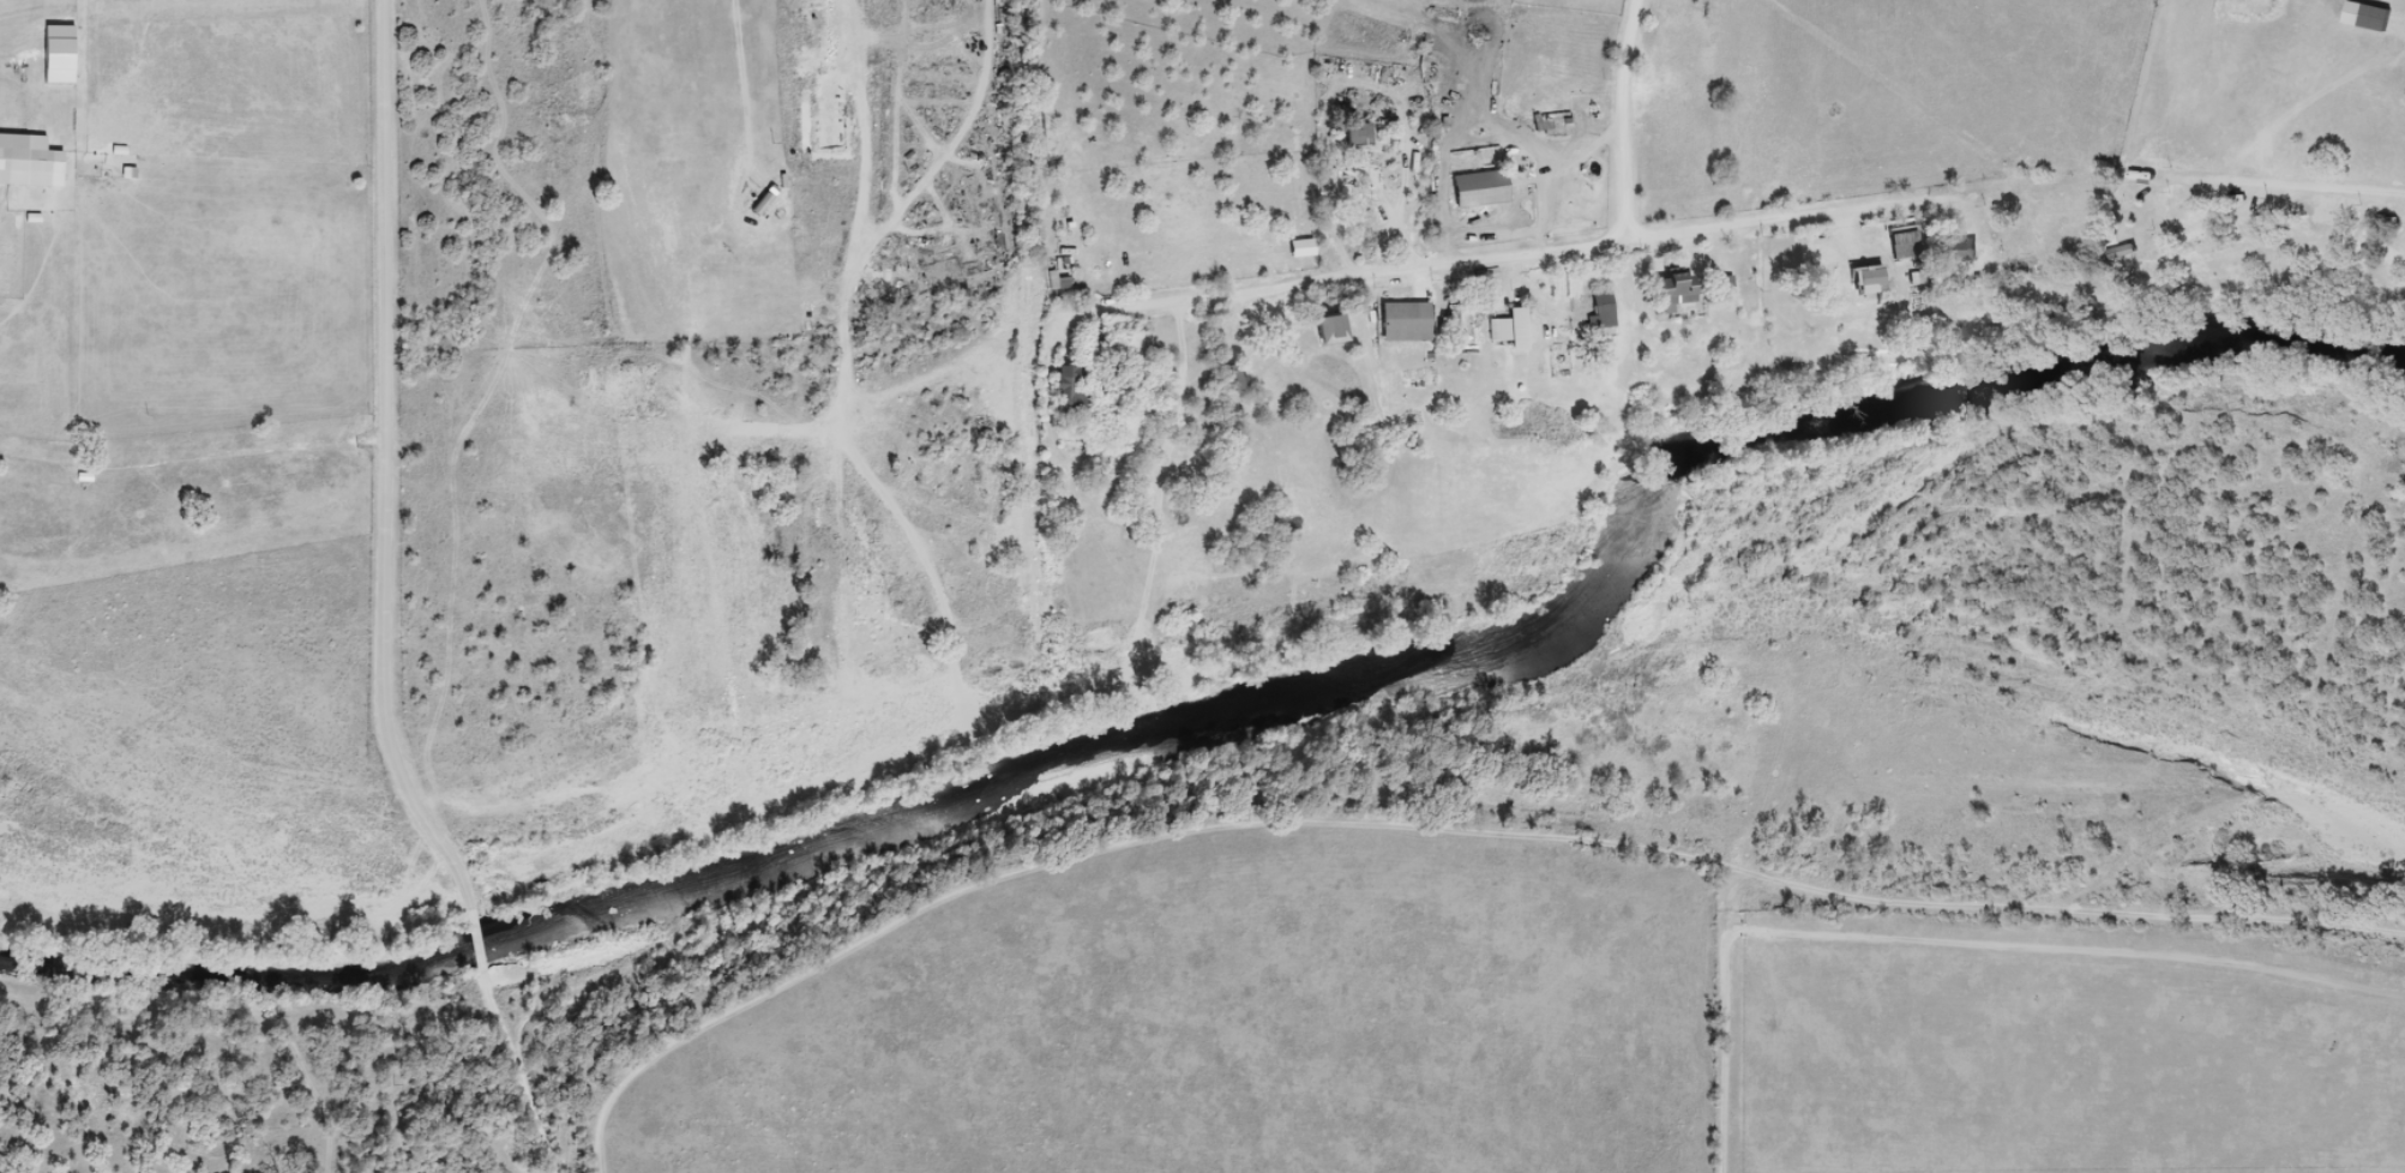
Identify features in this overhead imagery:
building: (2382, 18)
road: (1625, 118)
road: (1062, 120)
building: (1053, 128)
building: (1363, 134)
building: (1485, 188)
road: (1725, 223)
road: (2385, 229)
road: (888, 230)
building: (1966, 251)
building: (2132, 253)
road: (1402, 267)
building: (2031, 267)
building: (1062, 279)
building: (1728, 285)
building: (1682, 289)
building: (1603, 309)
building: (1521, 315)
building: (1411, 320)
building: (1337, 327)
building: (1567, 363)
building: (1237, 375)
building: (1074, 397)
road: (387, 602)
river: (1209, 738)

